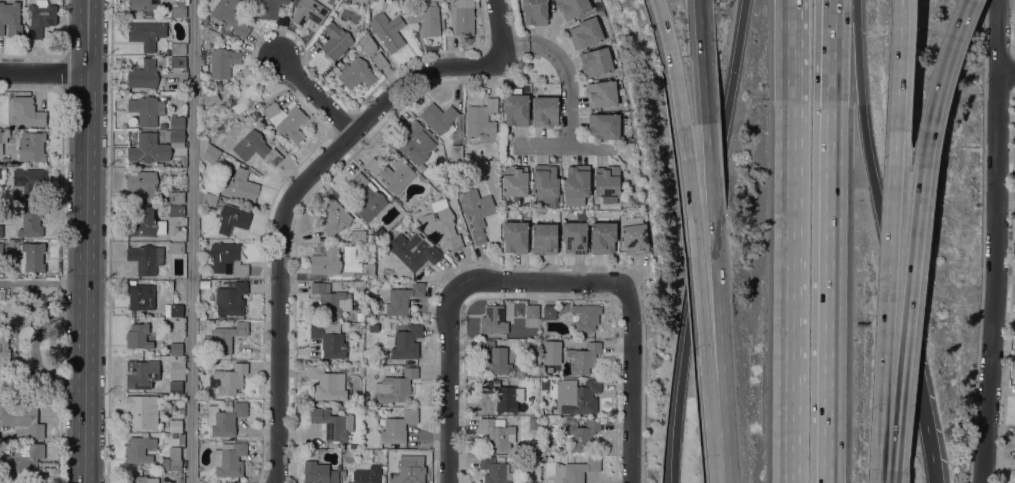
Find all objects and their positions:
building: (371, 0)
building: (248, 1)
road: (968, 1)
building: (144, 6)
building: (572, 7)
building: (270, 8)
building: (178, 9)
building: (308, 11)
building: (534, 12)
road: (832, 12)
building: (230, 16)
building: (41, 17)
building: (462, 17)
building: (10, 18)
building: (426, 18)
building: (283, 19)
building: (387, 30)
road: (500, 31)
building: (585, 32)
building: (146, 33)
building: (211, 36)
building: (336, 41)
building: (368, 44)
road: (513, 44)
building: (178, 48)
road: (736, 58)
building: (379, 59)
building: (178, 61)
building: (223, 61)
building: (596, 61)
road: (672, 62)
road: (846, 64)
road: (450, 67)
road: (1007, 71)
building: (356, 72)
road: (44, 73)
building: (143, 74)
road: (569, 81)
road: (897, 83)
road: (938, 83)
building: (601, 93)
building: (242, 96)
road: (316, 96)
building: (211, 97)
building: (146, 109)
building: (515, 109)
road: (376, 110)
building: (25, 111)
building: (545, 111)
building: (481, 117)
building: (439, 118)
building: (286, 121)
building: (176, 122)
building: (604, 125)
building: (3, 138)
building: (175, 138)
building: (416, 142)
building: (32, 146)
building: (148, 147)
building: (255, 147)
road: (566, 148)
building: (456, 152)
building: (211, 154)
building: (5, 160)
building: (289, 161)
building: (159, 164)
building: (283, 168)
building: (1, 173)
building: (392, 174)
building: (577, 180)
building: (28, 181)
building: (515, 181)
building: (238, 183)
building: (546, 183)
building: (607, 183)
building: (144, 184)
road: (711, 190)
building: (175, 197)
building: (368, 197)
building: (209, 198)
building: (574, 201)
building: (594, 206)
building: (176, 210)
building: (477, 211)
building: (335, 216)
building: (233, 218)
building: (31, 221)
building: (145, 223)
building: (442, 224)
building: (400, 227)
building: (1, 230)
building: (380, 231)
building: (358, 235)
building: (515, 236)
building: (574, 236)
building: (634, 236)
building: (602, 237)
building: (465, 238)
building: (544, 238)
road: (86, 241)
road: (194, 241)
road: (789, 241)
road: (996, 241)
building: (1, 247)
building: (176, 247)
building: (413, 250)
road: (703, 253)
road: (830, 253)
building: (30, 256)
building: (226, 257)
building: (145, 258)
building: (346, 260)
building: (326, 261)
road: (890, 264)
building: (367, 269)
building: (204, 284)
building: (1, 294)
road: (280, 295)
building: (139, 297)
building: (370, 298)
building: (403, 298)
building: (231, 299)
building: (330, 299)
road: (453, 302)
road: (891, 303)
road: (905, 304)
building: (176, 310)
building: (549, 312)
building: (368, 315)
building: (532, 315)
building: (360, 316)
building: (586, 316)
building: (493, 319)
building: (355, 328)
building: (138, 336)
building: (226, 338)
building: (329, 339)
building: (406, 342)
building: (175, 348)
building: (550, 351)
building: (495, 358)
building: (583, 358)
building: (4, 366)
building: (349, 368)
building: (141, 373)
building: (230, 379)
building: (328, 384)
road: (631, 385)
building: (175, 386)
building: (395, 386)
building: (503, 395)
building: (580, 395)
building: (141, 412)
road: (678, 412)
building: (22, 418)
building: (225, 418)
road: (726, 419)
building: (533, 423)
building: (333, 424)
building: (175, 425)
building: (398, 426)
building: (580, 433)
building: (174, 434)
building: (498, 434)
building: (181, 439)
building: (140, 448)
road: (927, 453)
building: (578, 457)
building: (172, 459)
building: (229, 459)
building: (22, 460)
road: (887, 461)
building: (493, 470)
building: (576, 470)
road: (729, 471)
building: (319, 472)
building: (407, 473)
building: (367, 475)
building: (142, 479)
building: (31, 482)

